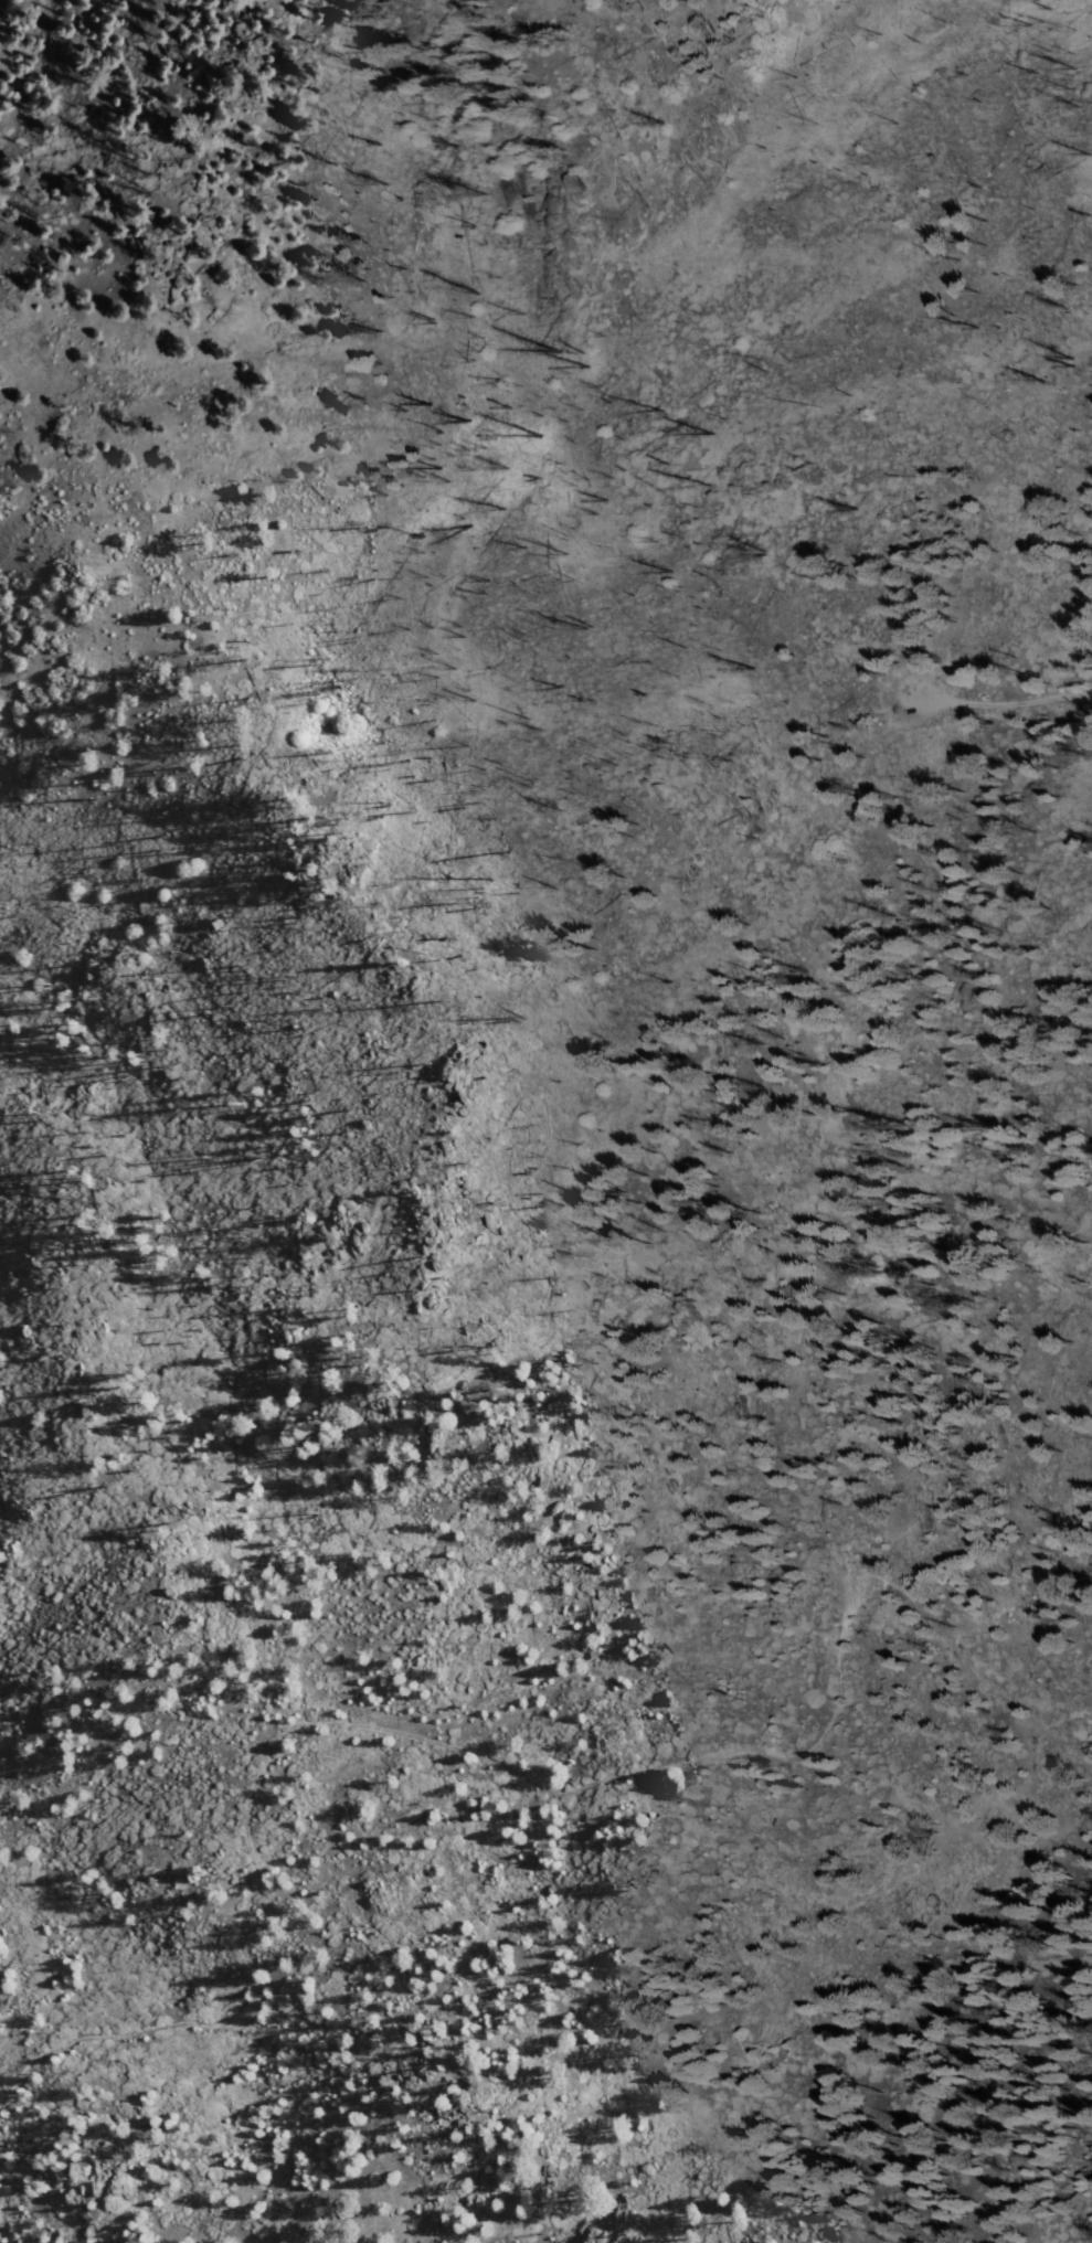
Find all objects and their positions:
road: (996, 681)
road: (358, 1718)

